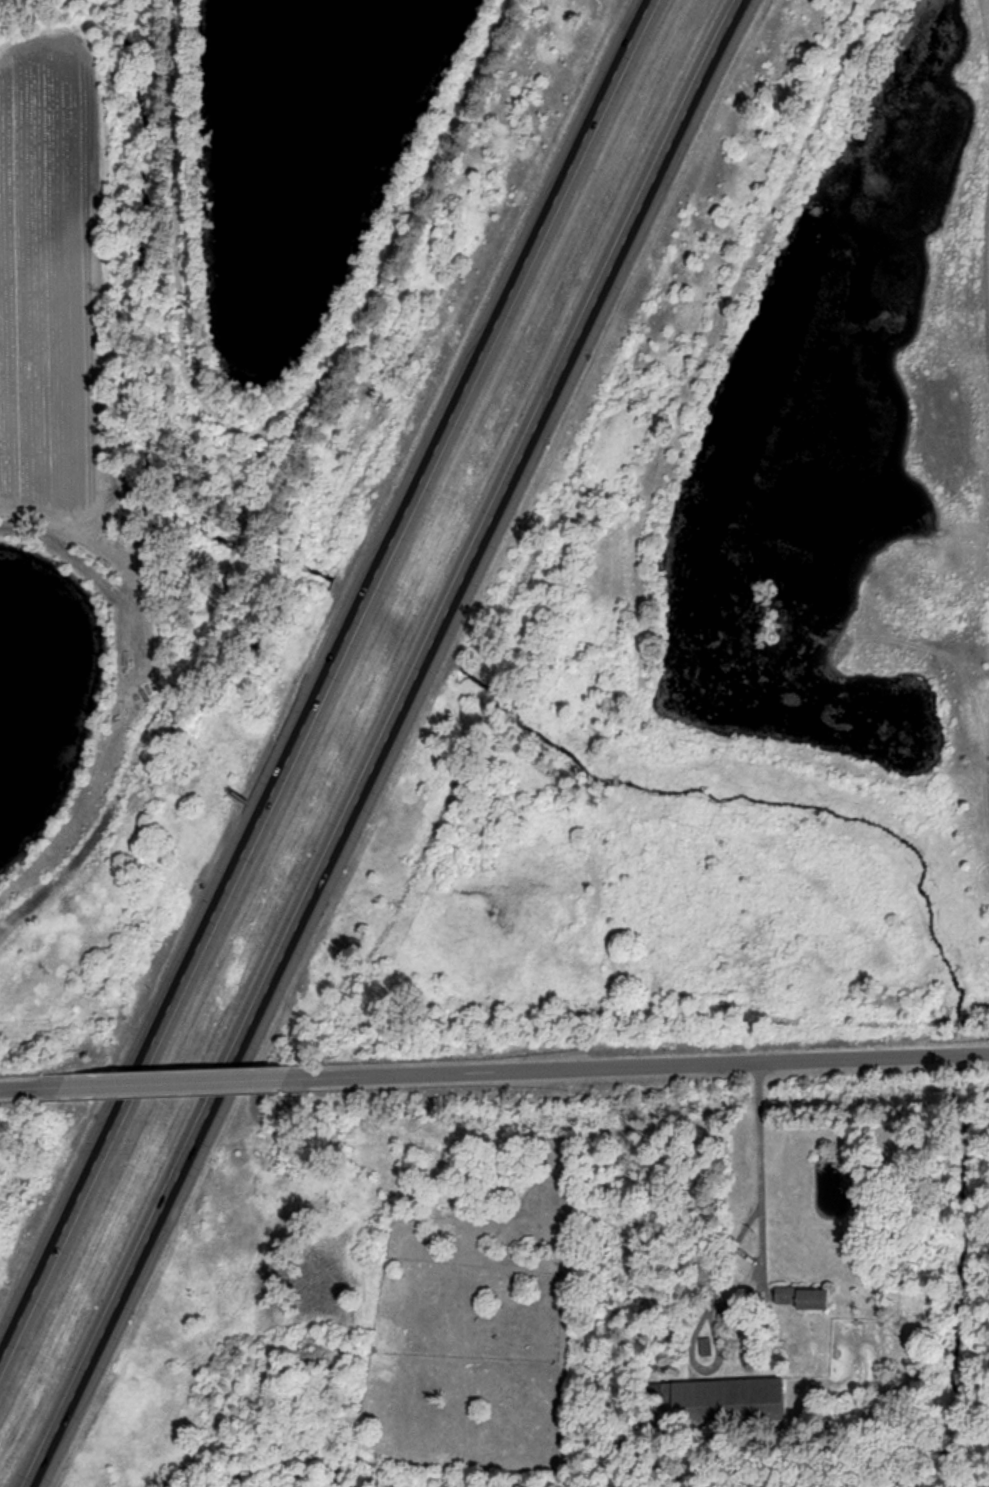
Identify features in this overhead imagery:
road: (324, 683)
road: (391, 743)
road: (661, 1065)
road: (190, 1079)
road: (23, 1085)
road: (728, 1252)
building: (804, 1297)
building: (728, 1401)

